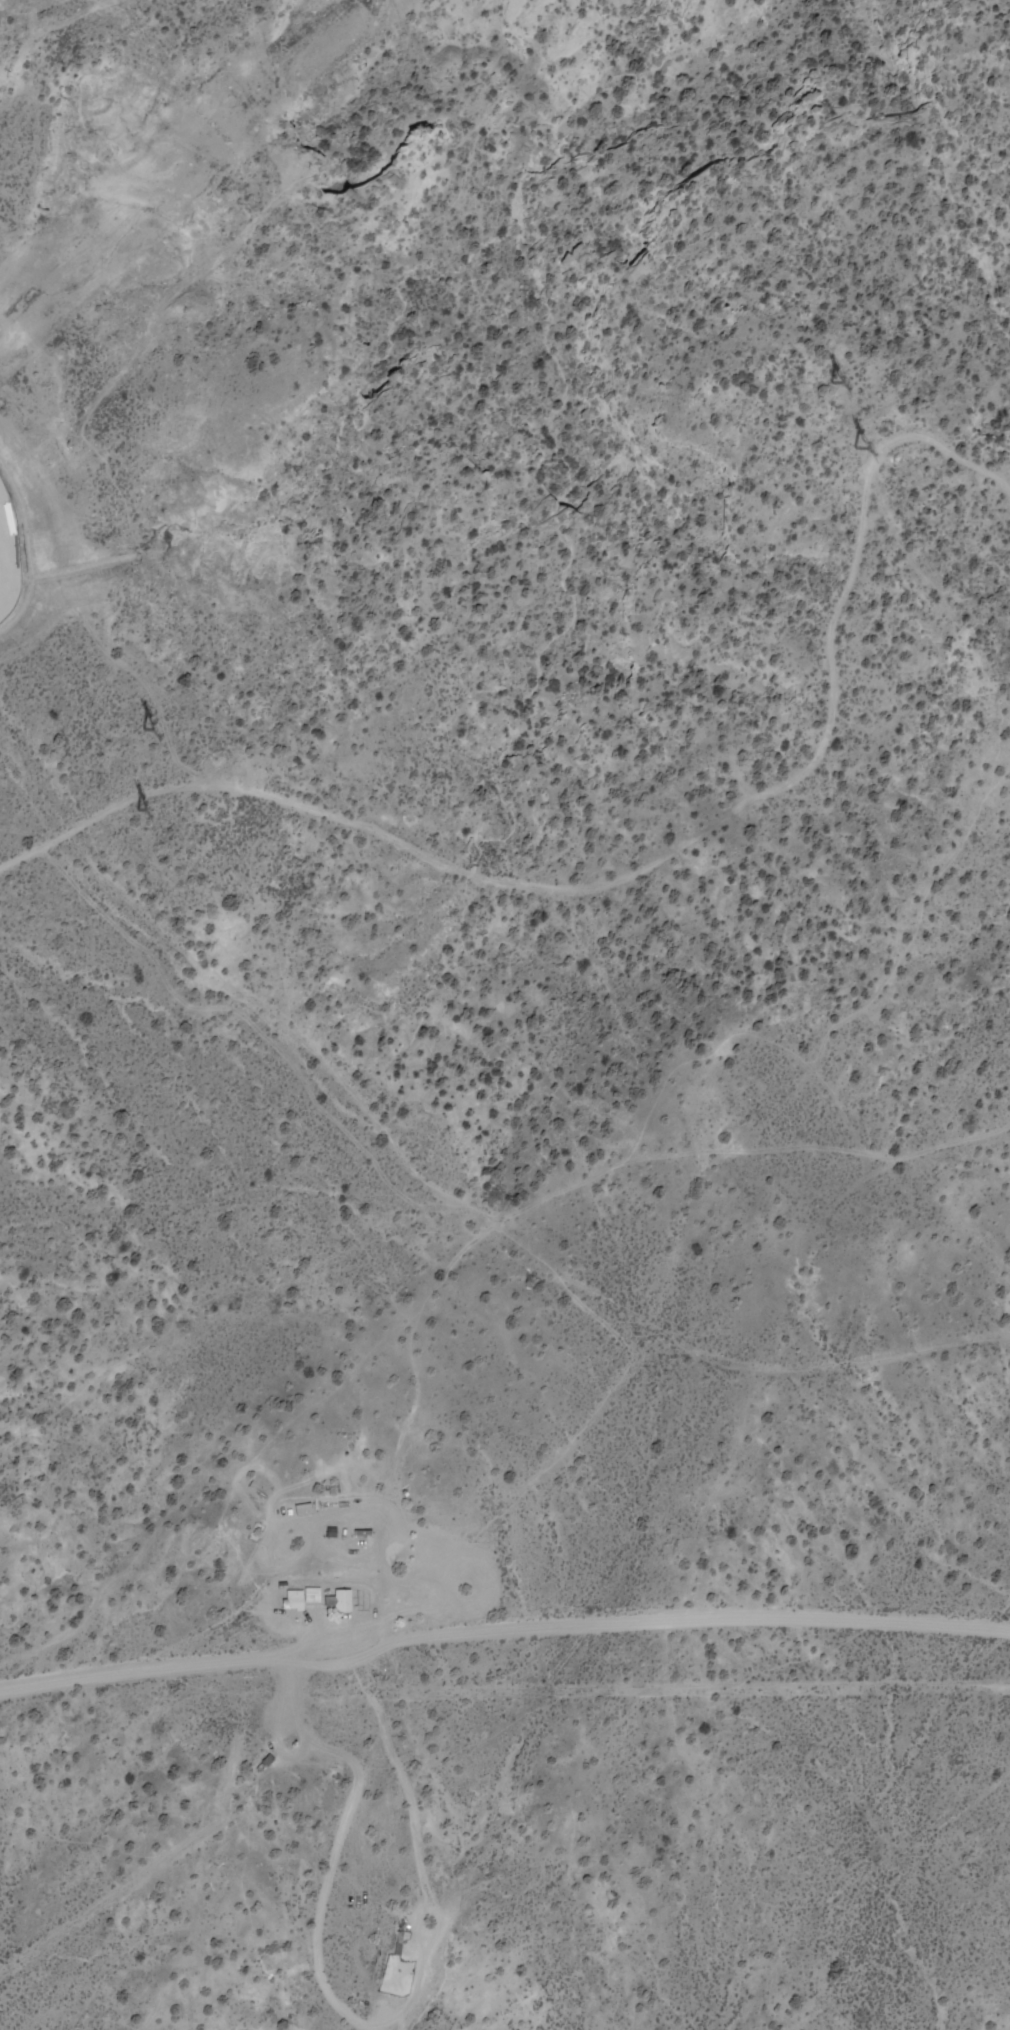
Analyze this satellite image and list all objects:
power tower: (841, 382)
power tower: (873, 450)
power tower: (166, 724)
power tower: (155, 805)
road: (615, 860)
road: (520, 1509)
building: (295, 1598)
building: (344, 1600)
road: (652, 1626)

